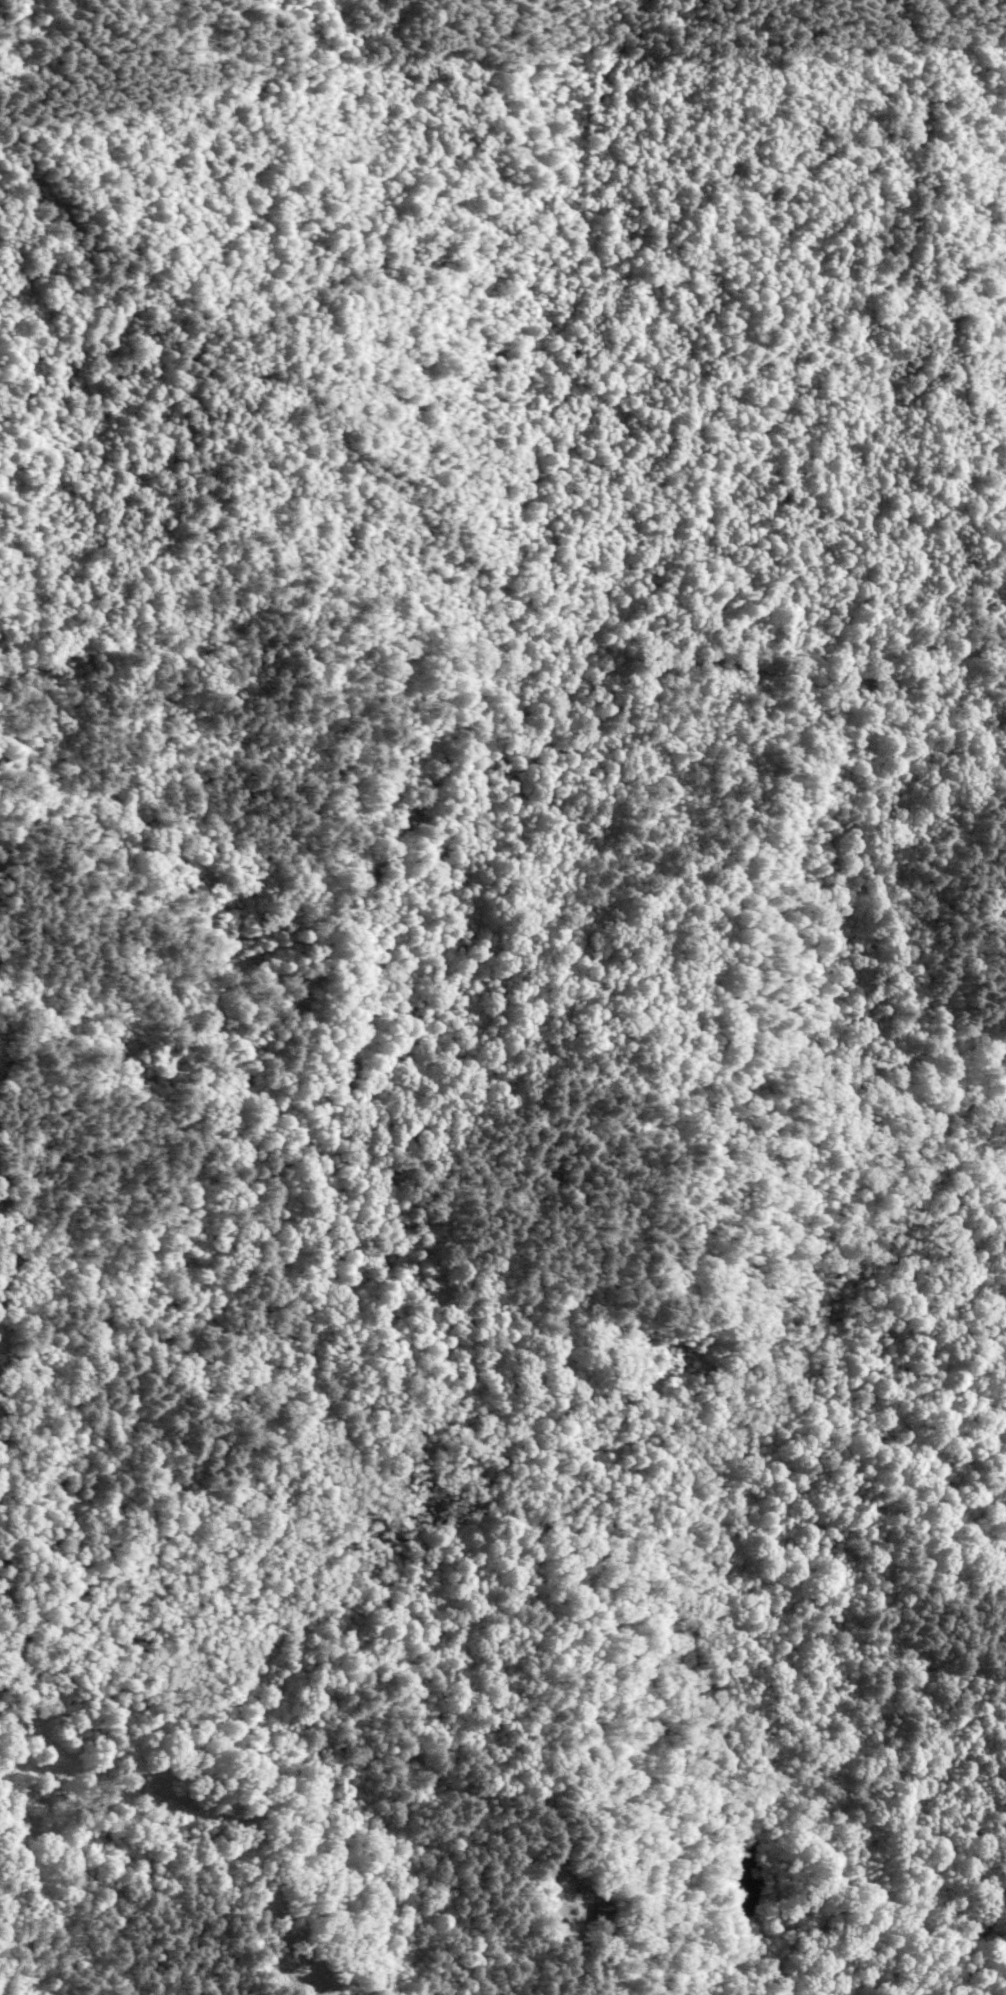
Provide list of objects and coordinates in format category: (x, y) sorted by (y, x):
road: (747, 1848)
building: (600, 1912)

